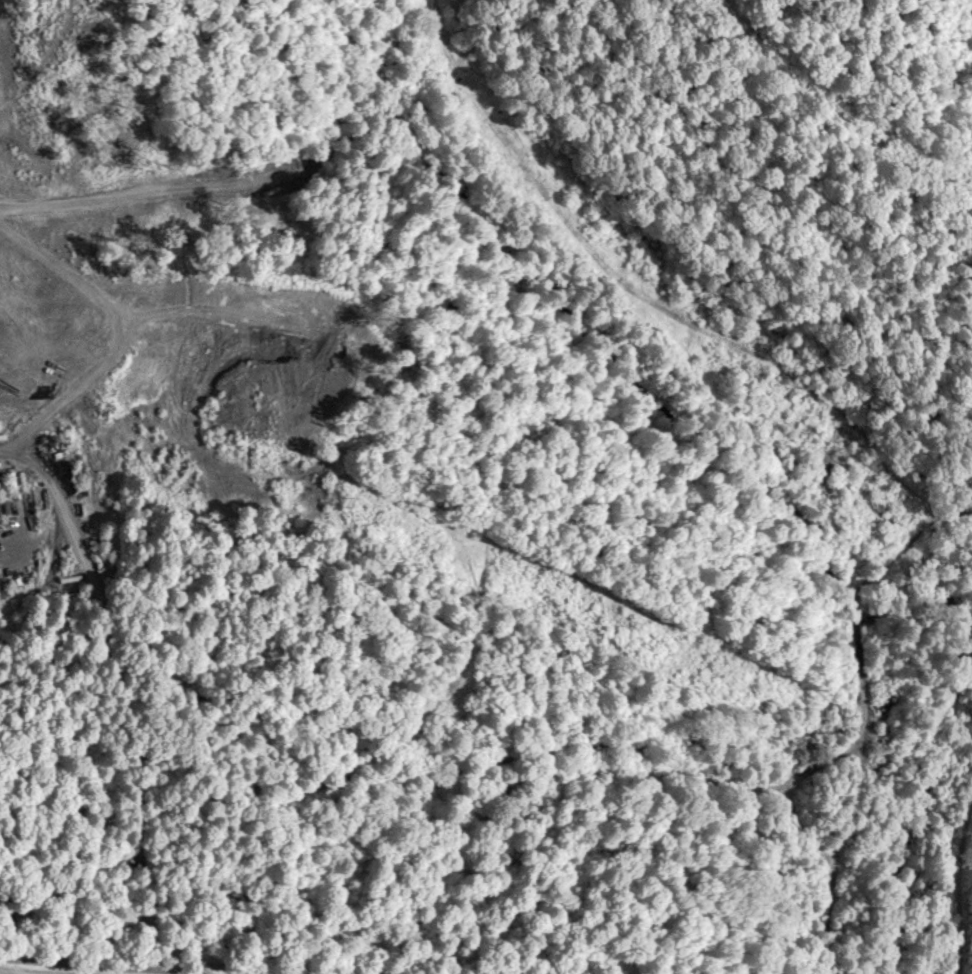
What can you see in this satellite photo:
road: (795, 541)
building: (105, 560)
road: (63, 962)

